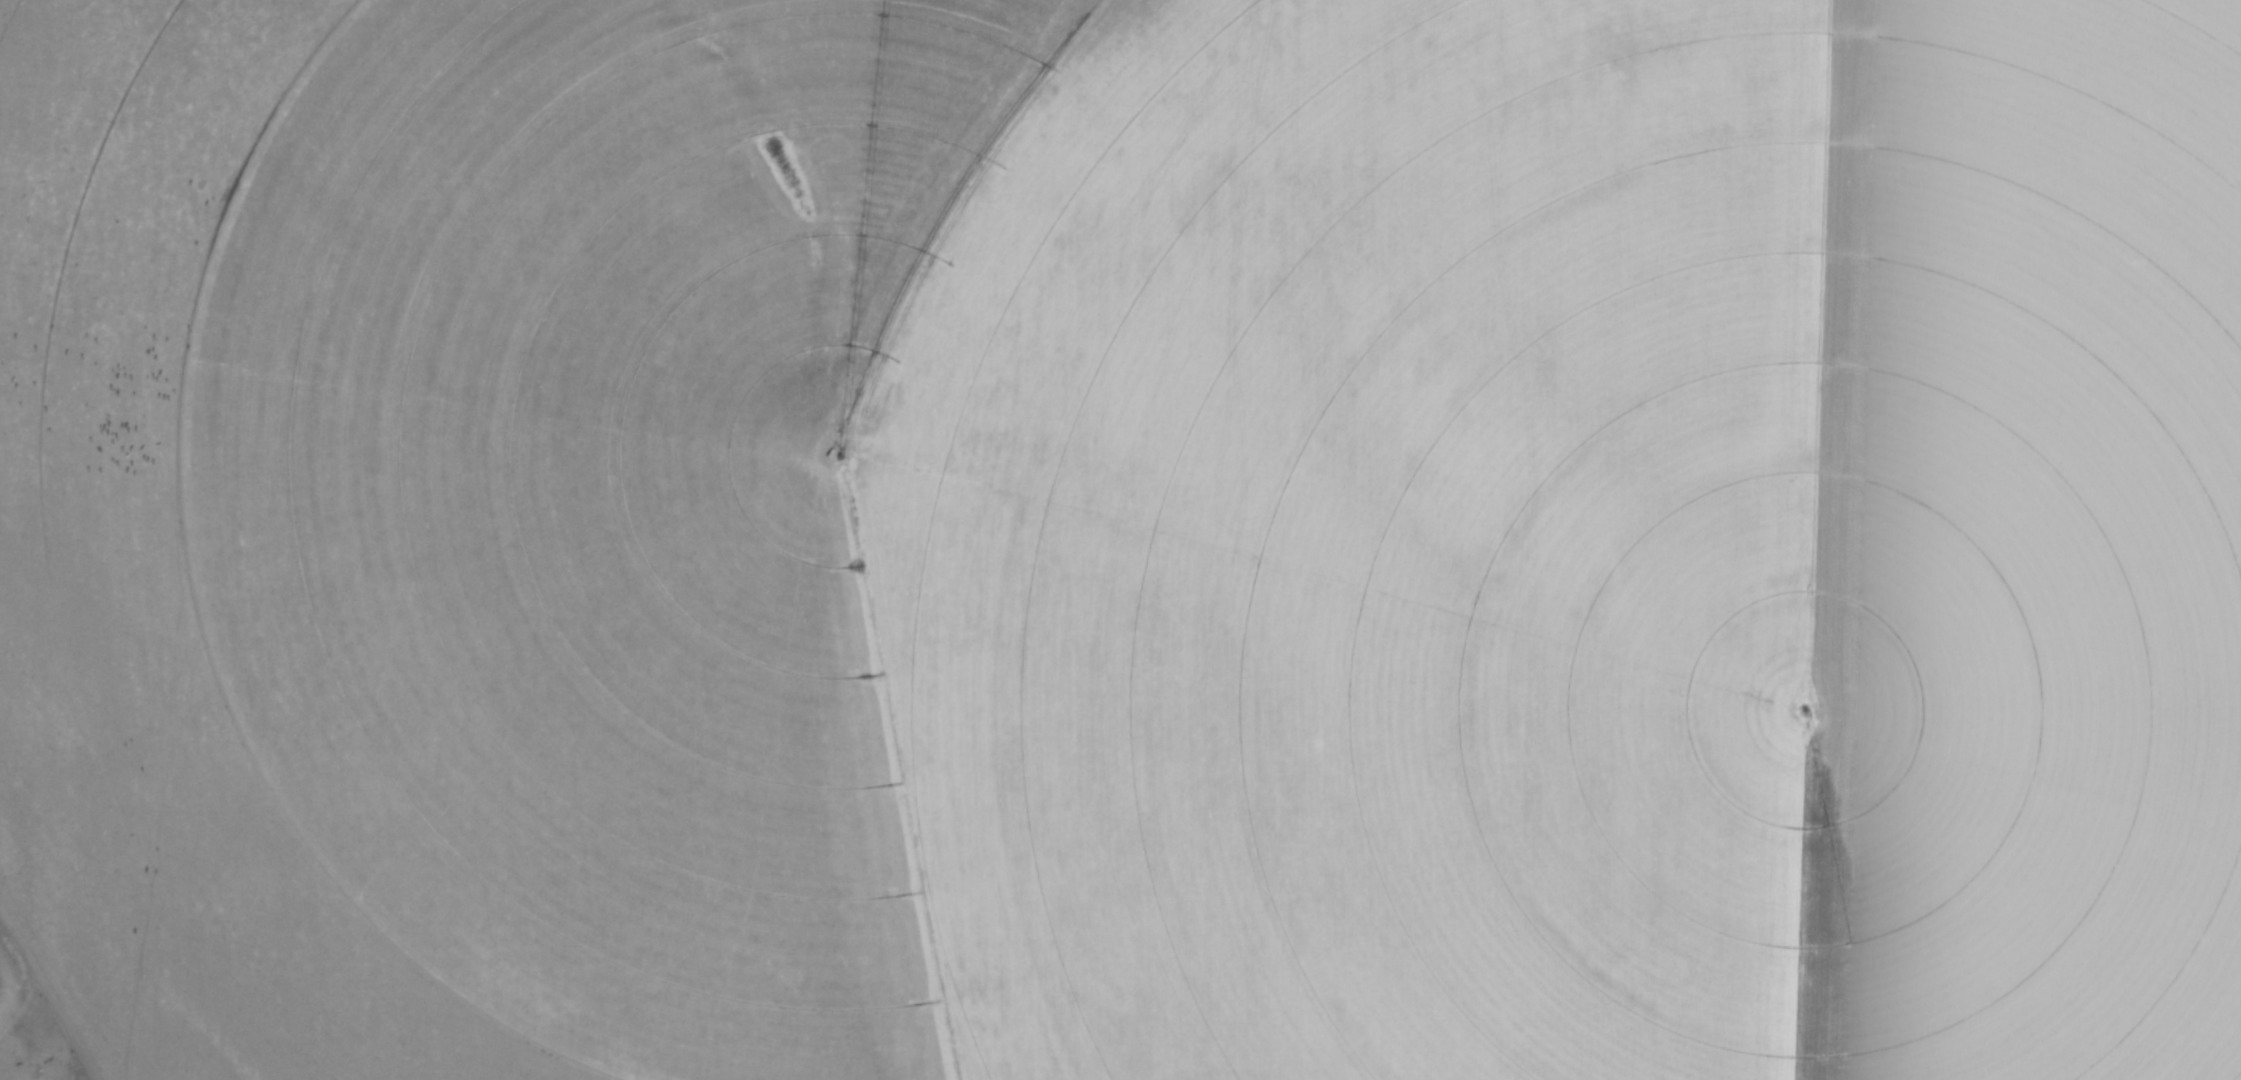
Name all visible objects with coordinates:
crop: (1125, 538)

